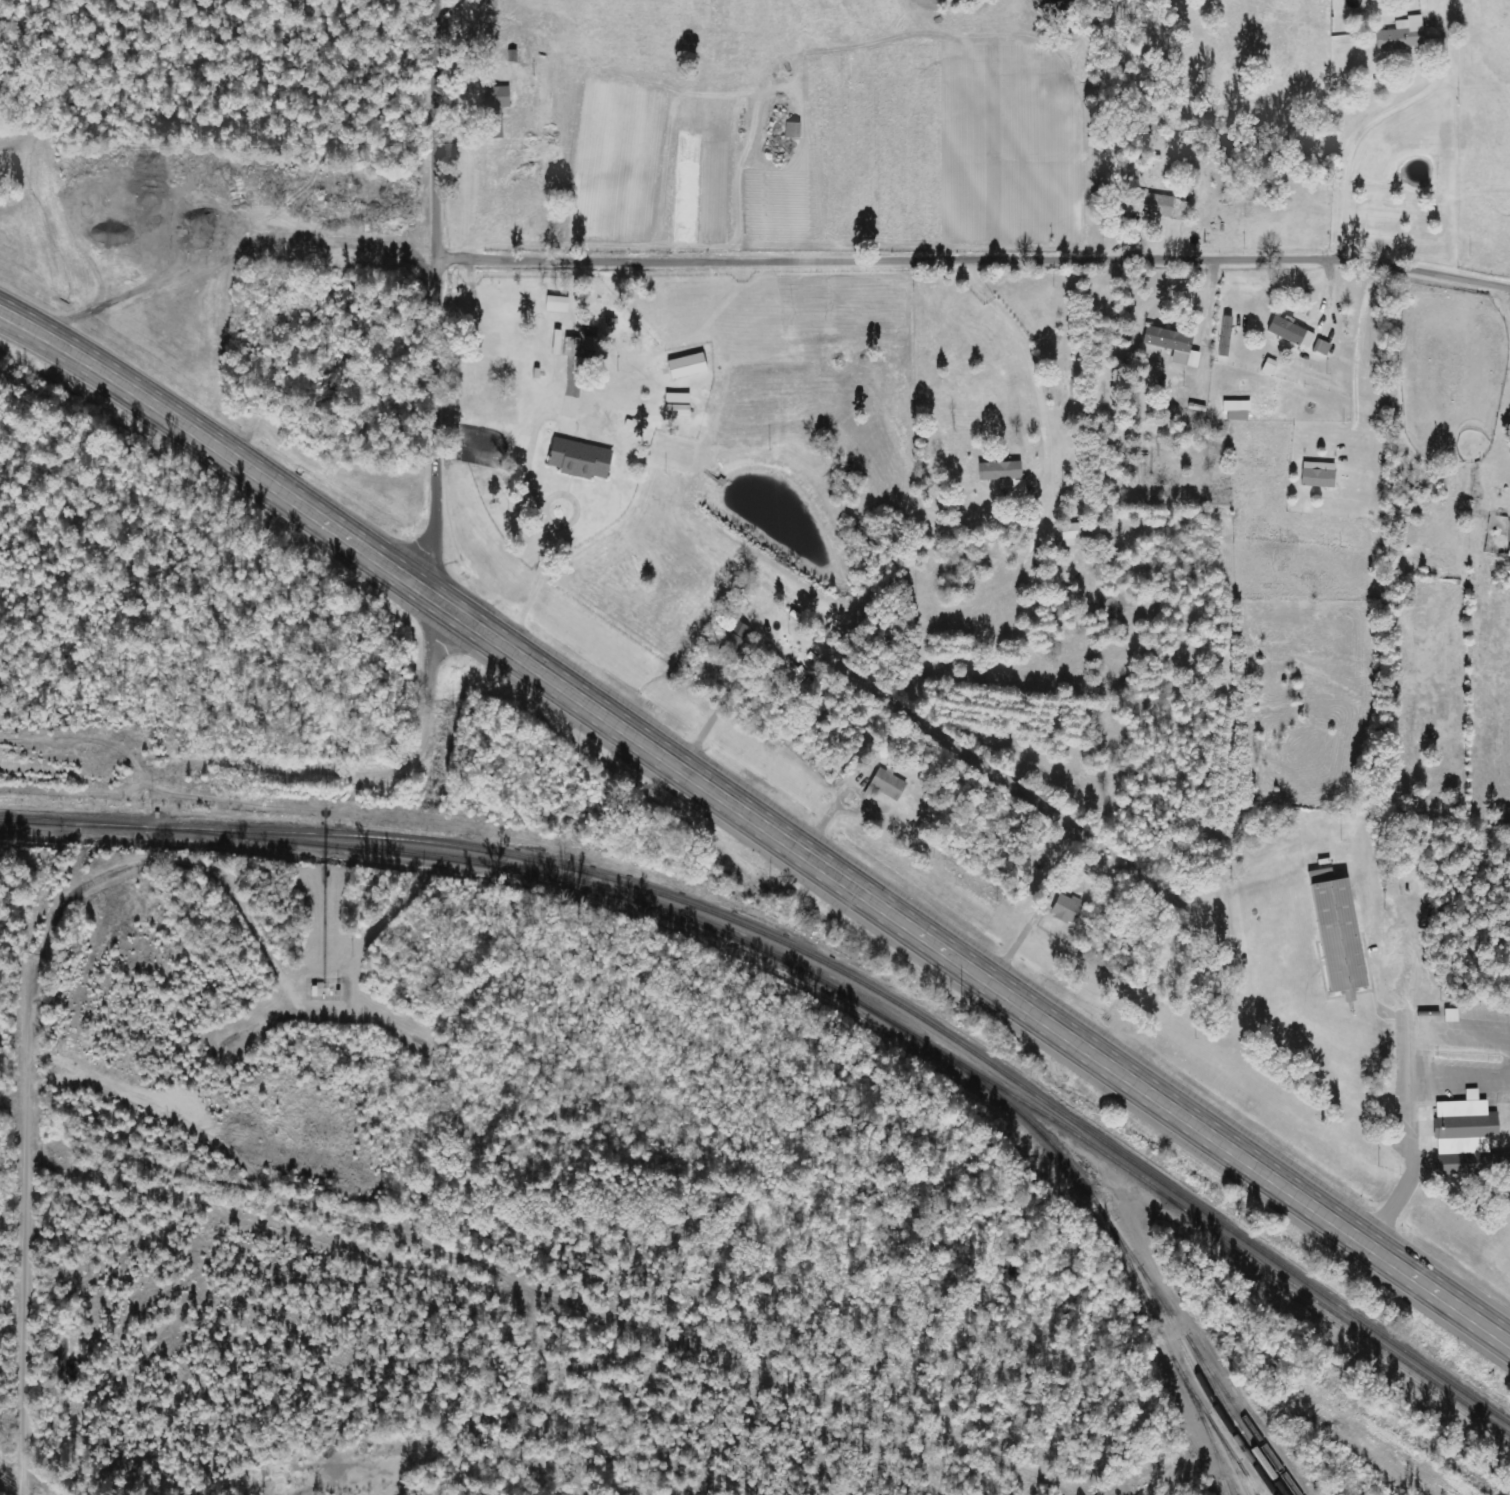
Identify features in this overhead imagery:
building: (1401, 35)
building: (495, 110)
building: (1150, 204)
road: (978, 262)
building: (557, 304)
road: (17, 323)
road: (17, 328)
building: (1290, 332)
building: (1172, 345)
building: (686, 366)
building: (676, 404)
building: (1236, 410)
building: (578, 459)
building: (998, 471)
building: (1317, 475)
road: (444, 519)
building: (1070, 535)
building: (733, 642)
building: (887, 784)
road: (776, 827)
building: (1065, 908)
building: (1335, 930)
railway: (816, 957)
railway: (895, 1023)
road: (1379, 1074)
building: (1464, 1125)
road: (29, 1200)
railway: (1122, 1242)
railway: (1173, 1356)
railway: (1222, 1386)
railway: (1234, 1420)
railway: (1218, 1430)
railway: (1230, 1459)
railway: (1223, 1460)
railway: (1250, 1482)
railway: (1230, 1494)

